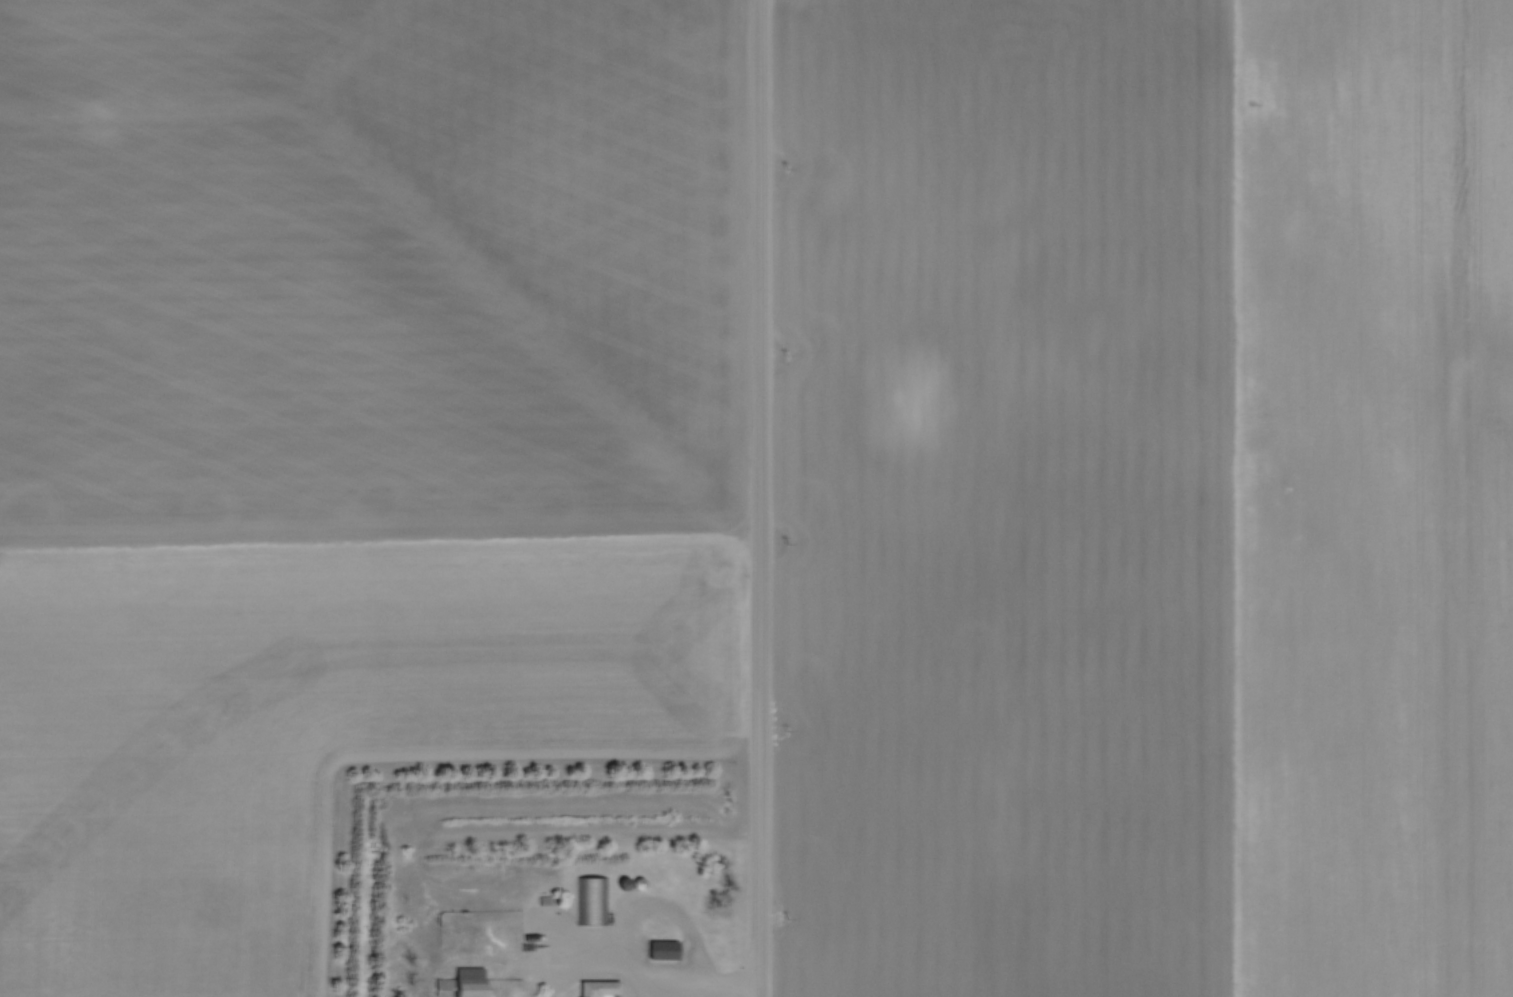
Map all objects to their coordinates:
crop: (347, 439)
road: (759, 498)
crop: (1147, 498)
silo: (619, 881)
silo: (637, 883)
building: (591, 899)
road: (682, 917)
building: (658, 948)
road: (595, 957)
building: (467, 981)
building: (593, 988)

